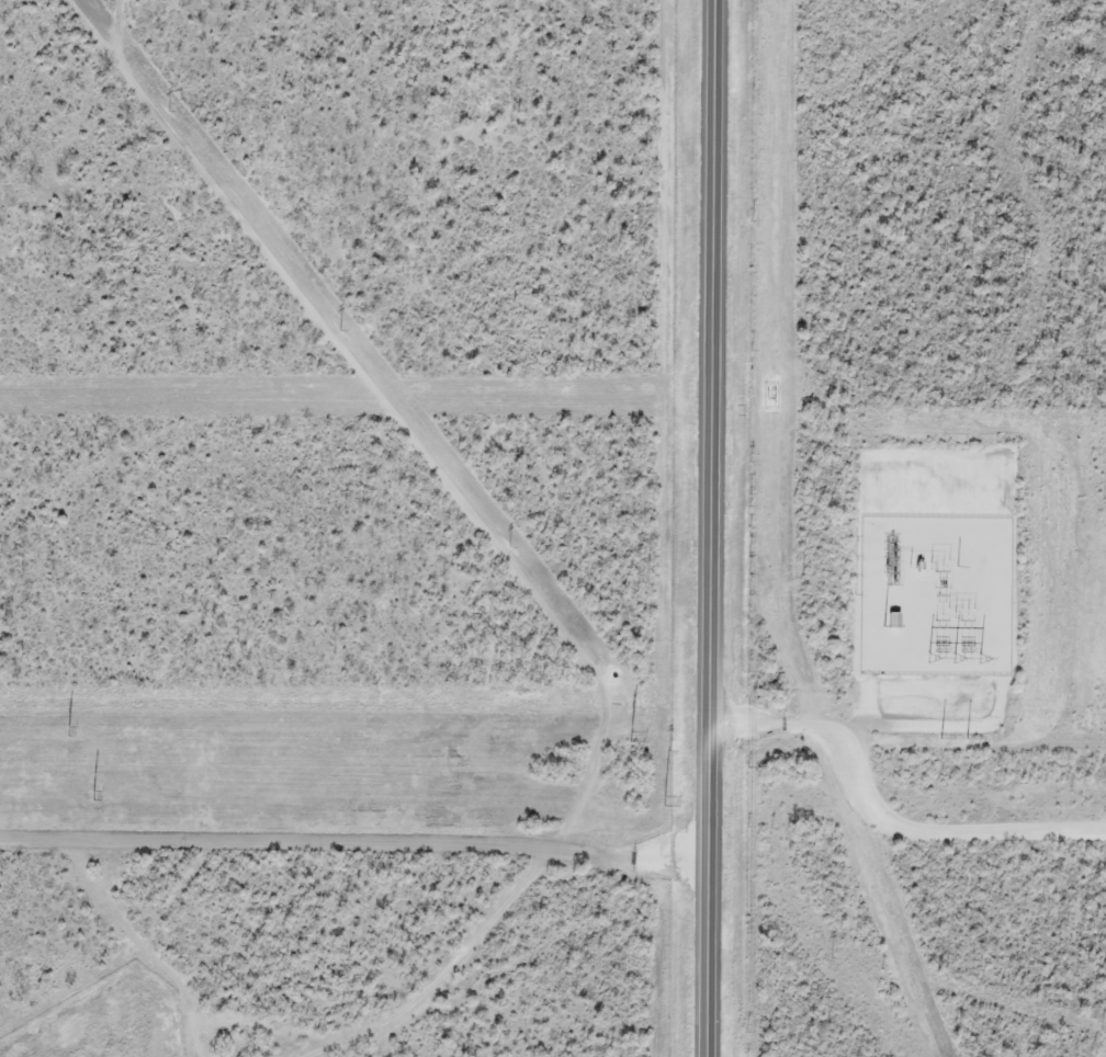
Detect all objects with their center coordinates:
power tower: (169, 110)
power tower: (340, 330)
road: (709, 528)
power tower: (510, 548)
power substation: (936, 593)
building: (893, 620)
road: (984, 723)
power tower: (68, 729)
power tower: (631, 734)
power tower: (967, 738)
power tower: (940, 739)
power tower: (669, 749)
power tower: (94, 795)
power tower: (664, 799)
road: (879, 820)
road: (353, 840)
power tower: (833, 958)

